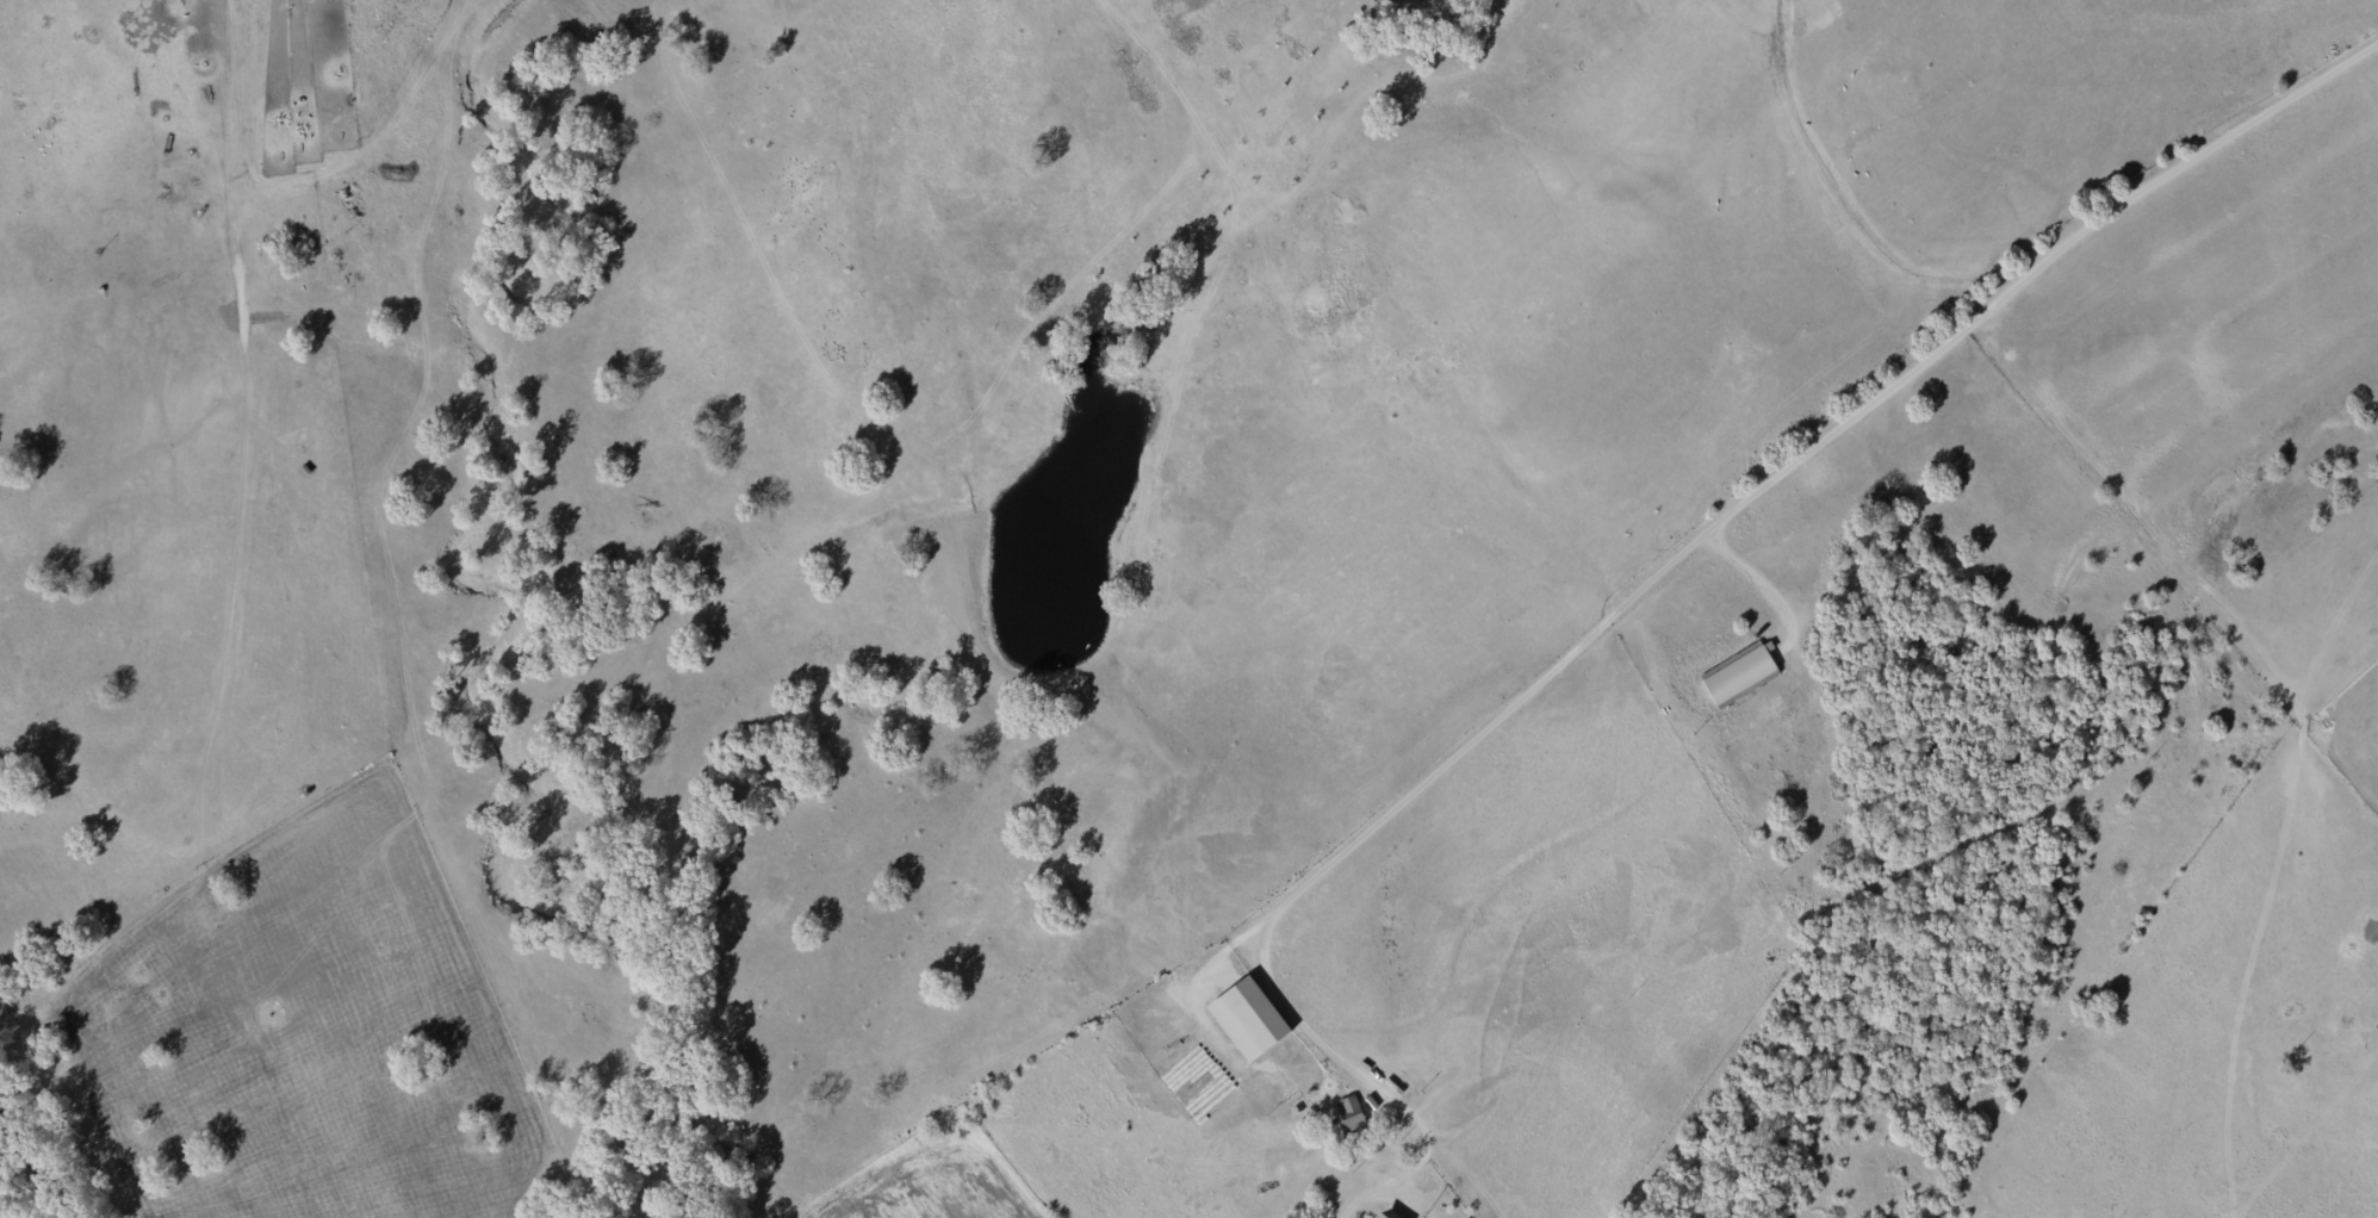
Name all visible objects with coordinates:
road: (942, 445)
road: (1732, 512)
road: (1752, 584)
building: (1740, 672)
building: (1253, 1019)
building: (1348, 1118)

